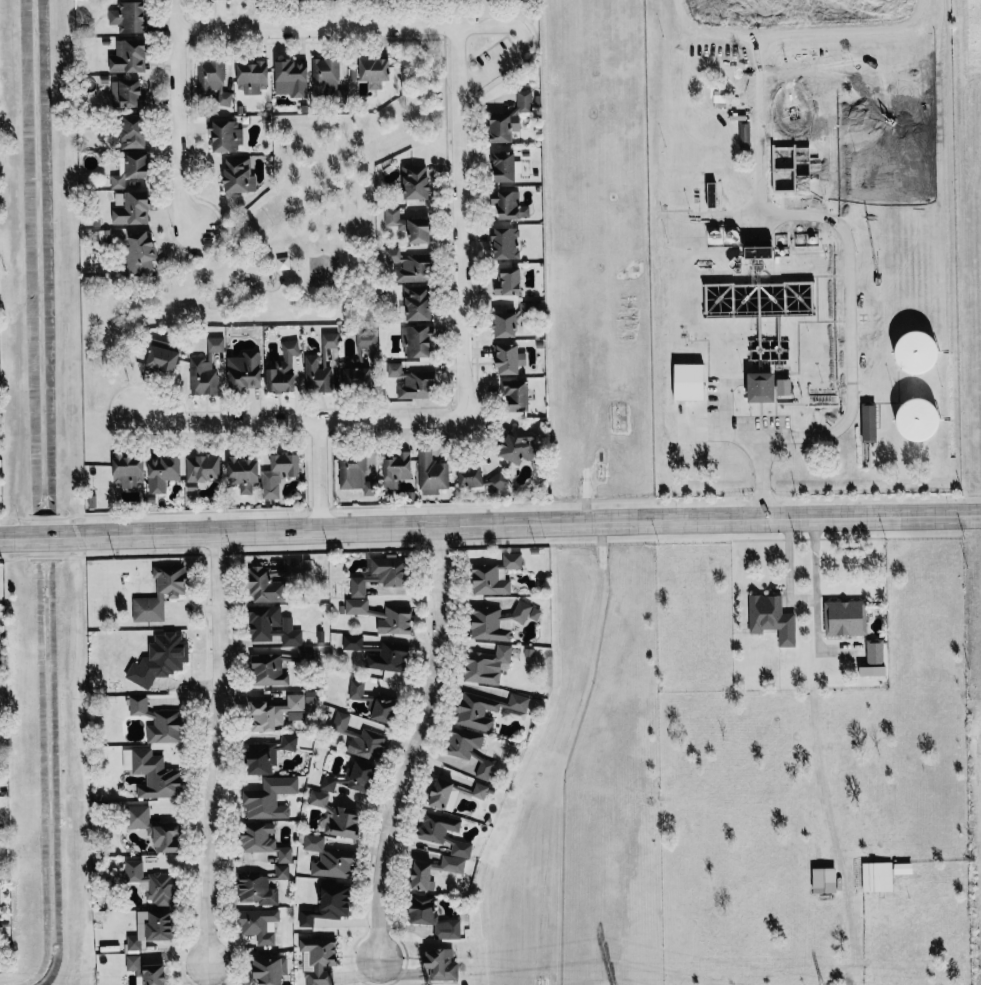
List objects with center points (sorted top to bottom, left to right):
building: (129, 17)
road: (357, 26)
building: (129, 55)
road: (457, 57)
building: (372, 70)
building: (253, 76)
building: (325, 76)
building: (291, 77)
building: (214, 80)
building: (126, 92)
road: (177, 114)
building: (511, 117)
building: (133, 130)
building: (226, 135)
building: (745, 135)
building: (138, 163)
building: (503, 165)
building: (784, 168)
building: (239, 173)
building: (117, 180)
building: (416, 181)
building: (508, 204)
building: (133, 208)
park: (317, 209)
road: (461, 216)
building: (410, 225)
building: (722, 236)
building: (505, 241)
building: (142, 246)
building: (759, 248)
building: (410, 265)
building: (509, 281)
building: (419, 302)
building: (506, 324)
building: (366, 337)
building: (330, 339)
building: (417, 340)
building: (920, 351)
building: (164, 354)
building: (510, 358)
road: (850, 364)
building: (206, 368)
building: (285, 369)
building: (245, 370)
building: (318, 370)
building: (357, 377)
building: (690, 380)
building: (413, 381)
building: (783, 385)
building: (763, 386)
building: (516, 393)
building: (921, 418)
road: (298, 421)
building: (869, 421)
building: (521, 443)
building: (397, 468)
building: (129, 469)
building: (202, 469)
building: (163, 471)
building: (432, 472)
building: (243, 473)
building: (279, 473)
building: (355, 473)
road: (318, 475)
building: (479, 478)
road: (490, 527)
building: (381, 573)
building: (495, 575)
building: (275, 579)
building: (160, 592)
road: (802, 600)
building: (356, 605)
building: (526, 612)
building: (772, 617)
building: (845, 617)
building: (395, 619)
building: (490, 623)
building: (273, 625)
building: (352, 641)
building: (875, 651)
building: (306, 653)
building: (390, 657)
building: (160, 658)
building: (487, 664)
building: (269, 670)
building: (873, 670)
building: (356, 688)
building: (383, 709)
building: (488, 709)
building: (277, 712)
building: (157, 720)
building: (360, 738)
building: (463, 742)
road: (415, 745)
road: (215, 748)
building: (268, 754)
building: (484, 768)
building: (156, 775)
building: (360, 776)
building: (328, 783)
building: (480, 790)
building: (443, 794)
building: (270, 798)
building: (318, 798)
building: (137, 816)
building: (341, 821)
building: (443, 832)
building: (167, 838)
building: (263, 840)
building: (329, 858)
building: (904, 867)
building: (282, 871)
building: (423, 875)
building: (877, 876)
building: (825, 880)
building: (153, 883)
building: (256, 889)
building: (328, 904)
building: (433, 917)
building: (259, 924)
building: (160, 925)
building: (134, 942)
building: (320, 959)
building: (441, 964)
building: (147, 970)
building: (270, 970)

